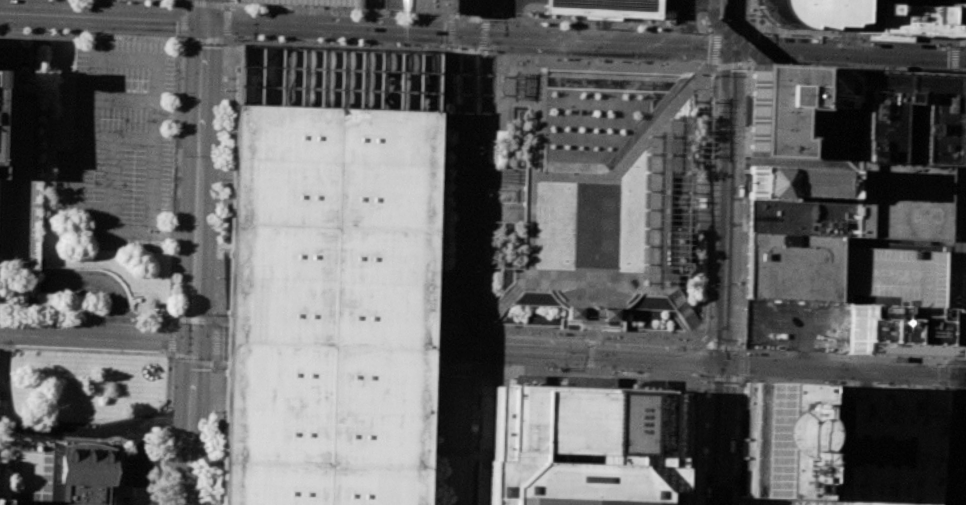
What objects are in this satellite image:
road: (184, 0)
building: (371, 0)
street lamp: (226, 1)
road: (719, 1)
building: (929, 1)
street lamp: (114, 2)
road: (182, 2)
road: (195, 2)
building: (307, 2)
parking lot: (307, 2)
road: (228, 4)
road: (215, 5)
building: (419, 5)
building: (604, 7)
road: (104, 8)
street lamp: (234, 9)
road: (514, 9)
road: (204, 10)
road: (350, 11)
street lamp: (482, 11)
road: (484, 11)
building: (800, 12)
road: (686, 13)
road: (717, 14)
street lamp: (750, 14)
road: (102, 15)
road: (456, 16)
road: (468, 17)
building: (905, 17)
road: (485, 18)
road: (181, 19)
road: (452, 19)
road: (466, 19)
road: (599, 19)
street lamp: (720, 19)
street lamp: (488, 20)
road: (718, 20)
traffic signals: (204, 21)
road: (594, 22)
street lamp: (533, 23)
road: (225, 24)
road: (734, 24)
street lamp: (571, 25)
street lamp: (628, 27)
road: (853, 27)
street lamp: (8, 29)
road: (334, 29)
street lamp: (666, 29)
road: (524, 30)
road: (734, 30)
road: (751, 30)
street lamp: (31, 31)
street lamp: (57, 31)
street lamp: (81, 31)
street lamp: (706, 31)
road: (717, 31)
street lamp: (88, 32)
road: (752, 32)
road: (76, 33)
road: (450, 33)
road: (481, 33)
street lamp: (756, 33)
street lamp: (129, 34)
street lamp: (781, 34)
road: (128, 35)
road: (858, 35)
street lamp: (171, 36)
road: (181, 36)
road: (728, 36)
street lamp: (833, 36)
road: (840, 36)
street lamp: (177, 37)
road: (685, 37)
traffic signals: (466, 38)
road: (183, 39)
road: (499, 39)
road: (205, 40)
street lamp: (232, 40)
road: (956, 40)
road: (962, 40)
flagpole: (24, 42)
flagpole: (21, 43)
flagpole: (28, 43)
road: (582, 43)
street lamp: (864, 43)
road: (955, 43)
road: (336, 44)
road: (861, 44)
street lamp: (949, 45)
street lamp: (182, 46)
road: (682, 46)
road: (751, 46)
road: (463, 48)
traffic signals: (734, 49)
road: (479, 50)
street lamp: (482, 50)
road: (481, 53)
road: (849, 53)
road: (954, 56)
road: (487, 57)
road: (485, 58)
street lamp: (562, 58)
road: (751, 60)
street lamp: (634, 61)
road: (750, 62)
street lamp: (784, 62)
street lamp: (804, 63)
road: (596, 64)
road: (713, 65)
street lamp: (844, 65)
road: (747, 66)
street lamp: (879, 66)
road: (709, 67)
street lamp: (946, 68)
street lamp: (747, 69)
road: (465, 71)
road: (955, 71)
road: (962, 71)
street lamp: (714, 75)
street lamp: (958, 79)
fountain: (604, 80)
street lamp: (693, 88)
street lamp: (221, 95)
street lamp: (677, 108)
building: (798, 112)
building: (897, 117)
building: (3, 118)
street lamp: (713, 126)
road: (200, 129)
road: (462, 140)
parking lot: (121, 145)
street lamp: (644, 146)
road: (954, 149)
road: (112, 158)
street lamp: (179, 158)
street lamp: (953, 159)
road: (790, 163)
street lamp: (626, 165)
road: (741, 167)
road: (956, 170)
road: (493, 176)
road: (608, 176)
street lamp: (219, 177)
road: (176, 179)
road: (728, 179)
road: (222, 181)
building: (793, 182)
road: (698, 183)
road: (441, 189)
parking lot: (693, 193)
road: (482, 195)
street lamp: (743, 198)
park: (596, 199)
road: (659, 199)
building: (898, 200)
road: (737, 204)
road: (491, 213)
building: (5, 216)
building: (799, 216)
road: (737, 219)
road: (697, 220)
road: (739, 230)
road: (965, 258)
road: (35, 262)
road: (456, 264)
building: (792, 265)
road: (948, 265)
road: (953, 272)
street lamp: (49, 273)
street lamp: (62, 273)
street lamp: (75, 273)
street lamp: (88, 273)
street lamp: (102, 275)
road: (599, 276)
building: (891, 276)
street lamp: (215, 277)
building: (327, 277)
road: (522, 279)
street lamp: (113, 281)
road: (663, 282)
road: (95, 283)
street lamp: (707, 284)
road: (952, 284)
road: (193, 288)
street lamp: (520, 289)
street lamp: (534, 289)
road: (592, 289)
street lamp: (546, 290)
street lamp: (121, 291)
street lamp: (638, 293)
street lamp: (651, 293)
road: (509, 294)
street lamp: (664, 294)
street lamp: (948, 298)
street lamp: (510, 300)
road: (675, 300)
street lamp: (125, 303)
road: (116, 305)
road: (500, 305)
street lamp: (673, 306)
flagpole: (592, 307)
road: (595, 309)
road: (704, 309)
road: (683, 310)
street lamp: (501, 311)
building: (574, 311)
building: (609, 312)
street lamp: (216, 314)
street lamp: (22, 315)
road: (591, 315)
street lamp: (48, 316)
street lamp: (681, 316)
street lamp: (75, 317)
road: (192, 319)
road: (220, 319)
street lamp: (150, 320)
street lamp: (168, 321)
street lamp: (493, 321)
road: (593, 321)
road: (563, 322)
road: (484, 323)
road: (620, 324)
parking lot: (795, 324)
road: (593, 326)
road: (432, 328)
road: (591, 328)
road: (697, 328)
road: (461, 329)
street lamp: (690, 329)
building: (893, 330)
street lamp: (506, 331)
street lamp: (528, 332)
street lamp: (550, 333)
street lamp: (571, 334)
road: (701, 334)
road: (591, 336)
street lamp: (610, 336)
road: (95, 337)
road: (171, 337)
street lamp: (632, 337)
street lamp: (655, 337)
road: (721, 337)
street lamp: (679, 338)
traffic signals: (191, 339)
road: (206, 340)
road: (216, 341)
road: (705, 341)
street lamp: (738, 343)
road: (710, 345)
road: (478, 346)
road: (699, 347)
road: (708, 347)
road: (441, 348)
road: (724, 348)
street lamp: (706, 349)
road: (85, 350)
road: (741, 351)
road: (441, 354)
road: (590, 354)
street lamp: (743, 354)
traffic signals: (453, 355)
road: (960, 356)
street lamp: (169, 358)
road: (190, 358)
road: (555, 358)
road: (851, 360)
road: (943, 361)
road: (956, 361)
street lamp: (938, 362)
road: (219, 363)
road: (476, 364)
road: (741, 365)
road: (455, 366)
road: (475, 366)
traffic signals: (721, 366)
road: (430, 369)
road: (812, 369)
road: (589, 371)
road: (1, 372)
road: (942, 374)
street lamp: (699, 375)
road: (657, 376)
road: (707, 376)
traffic signals: (959, 376)
road: (703, 377)
road: (813, 377)
road: (739, 378)
road: (863, 378)
road: (777, 379)
road: (589, 380)
street lamp: (705, 381)
road: (856, 381)
street lamp: (873, 383)
road: (688, 385)
street lamp: (936, 386)
road: (942, 388)
road: (956, 390)
street lamp: (942, 395)
road: (695, 399)
road: (486, 407)
road: (3, 411)
street lamp: (211, 411)
road: (187, 421)
road: (477, 421)
road: (484, 421)
road: (733, 421)
road: (56, 427)
road: (168, 430)
road: (451, 430)
road: (214, 431)
road: (475, 432)
road: (432, 434)
road: (733, 434)
road: (705, 435)
road: (718, 435)
road: (838, 437)
road: (89, 438)
building: (788, 440)
road: (941, 442)
street lamp: (943, 442)
building: (889, 446)
road: (938, 446)
building: (590, 447)
street lamp: (733, 454)
road: (480, 455)
road: (485, 455)
road: (964, 461)
road: (142, 463)
road: (490, 464)
road: (699, 468)
road: (45, 471)
road: (737, 476)
parking lot: (141, 477)
street lamp: (169, 478)
road: (731, 478)
building: (76, 479)
street lamp: (941, 482)
road: (965, 488)
road: (733, 497)
building: (745, 501)
street lamp: (941, 501)
street lamp: (208, 504)

